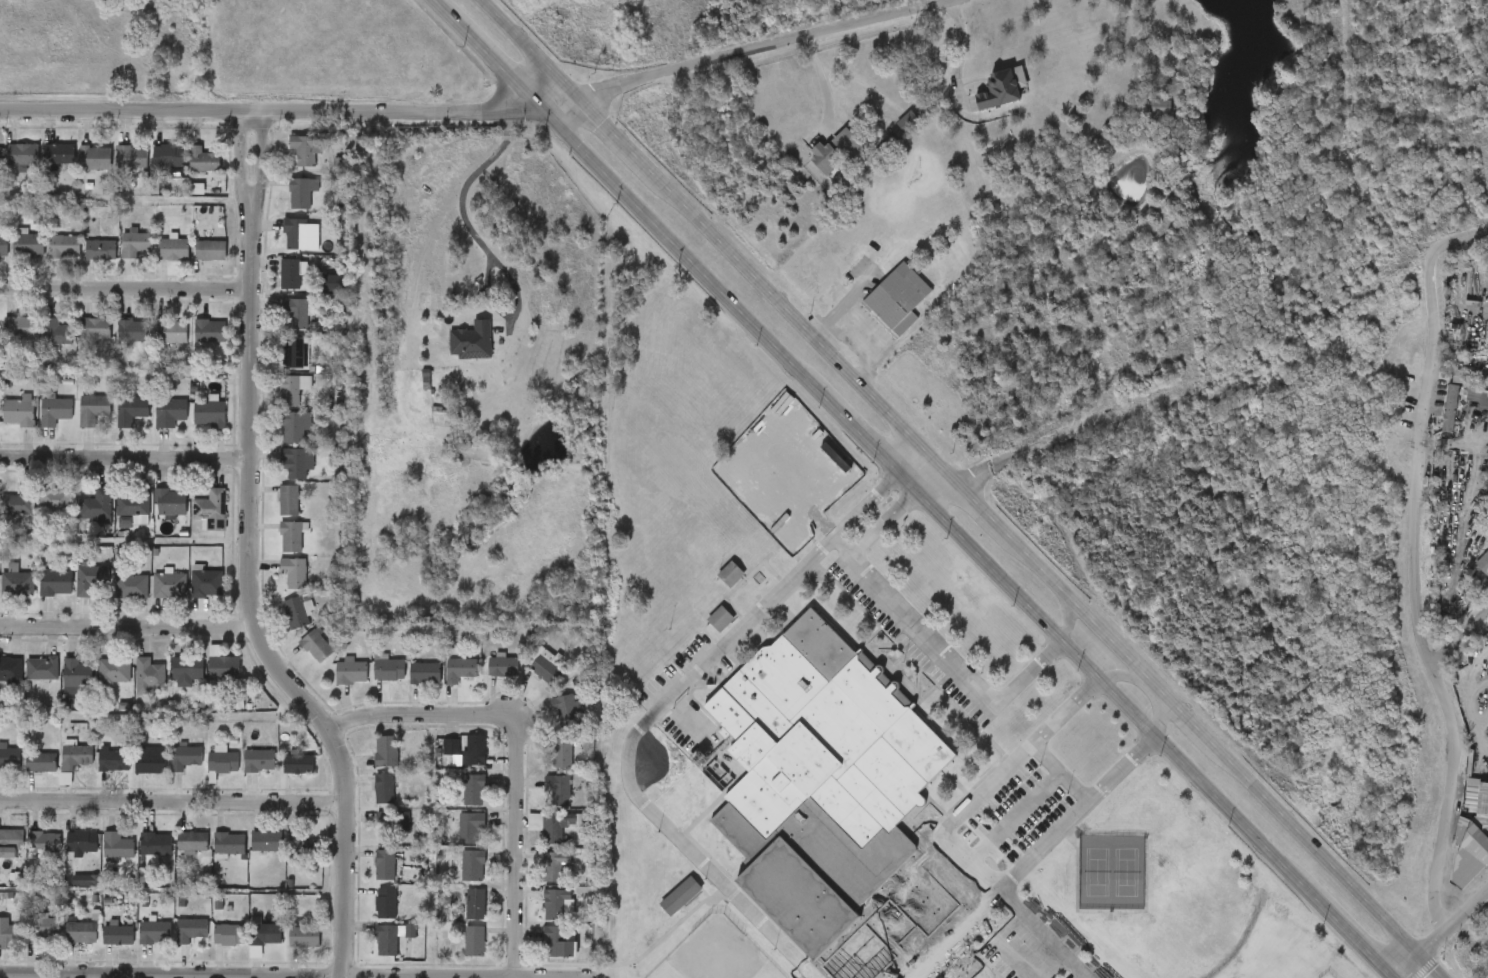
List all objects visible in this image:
road: (747, 52)
road: (958, 52)
road: (824, 79)
building: (1000, 86)
road: (270, 112)
building: (906, 119)
building: (847, 142)
building: (306, 148)
building: (22, 153)
building: (59, 153)
building: (169, 155)
building: (0, 156)
building: (132, 156)
building: (95, 157)
building: (825, 157)
building: (203, 159)
building: (288, 163)
building: (42, 167)
building: (10, 168)
building: (151, 169)
building: (115, 171)
building: (78, 172)
building: (186, 173)
building: (301, 192)
building: (284, 206)
building: (301, 233)
building: (135, 243)
road: (1458, 243)
building: (3, 244)
building: (28, 244)
road: (484, 245)
building: (64, 246)
building: (101, 248)
building: (174, 248)
building: (283, 248)
building: (211, 250)
building: (118, 258)
building: (47, 260)
building: (84, 263)
building: (157, 263)
building: (193, 264)
building: (291, 273)
road: (122, 286)
building: (273, 287)
building: (314, 296)
building: (896, 297)
road: (850, 302)
building: (296, 313)
building: (278, 326)
building: (18, 327)
building: (95, 329)
building: (132, 331)
building: (172, 331)
building: (210, 331)
building: (55, 332)
building: (472, 338)
building: (8, 340)
building: (78, 341)
road: (879, 342)
building: (115, 344)
building: (193, 344)
building: (154, 345)
building: (38, 346)
building: (296, 353)
building: (455, 355)
building: (279, 366)
building: (1458, 377)
building: (293, 388)
building: (276, 402)
building: (1448, 408)
building: (93, 409)
building: (131, 409)
building: (18, 411)
building: (55, 411)
building: (170, 413)
building: (209, 414)
building: (76, 422)
building: (9, 424)
building: (114, 424)
building: (38, 425)
building: (153, 426)
building: (194, 426)
building: (294, 426)
road: (1068, 431)
building: (279, 441)
road: (120, 460)
building: (294, 461)
building: (280, 476)
road: (962, 489)
road: (915, 490)
building: (55, 499)
building: (289, 499)
building: (170, 502)
building: (19, 503)
building: (134, 504)
building: (96, 506)
building: (211, 509)
building: (272, 513)
building: (8, 514)
building: (38, 514)
building: (79, 520)
building: (116, 524)
building: (194, 524)
building: (291, 536)
building: (274, 550)
road: (240, 559)
building: (1482, 563)
building: (293, 572)
building: (730, 572)
building: (89, 581)
building: (56, 582)
building: (17, 583)
building: (207, 583)
building: (169, 585)
building: (131, 586)
building: (278, 586)
building: (74, 593)
building: (39, 596)
building: (189, 596)
building: (8, 597)
building: (152, 599)
building: (114, 600)
road: (1419, 600)
building: (295, 613)
building: (719, 616)
road: (1068, 621)
building: (279, 626)
road: (125, 628)
road: (923, 632)
road: (1460, 642)
building: (316, 646)
building: (299, 659)
building: (502, 666)
building: (42, 668)
building: (188, 668)
building: (224, 668)
building: (459, 668)
building: (547, 668)
building: (10, 669)
building: (389, 669)
building: (114, 670)
building: (350, 671)
building: (77, 672)
building: (425, 673)
building: (149, 676)
road: (1125, 677)
building: (205, 678)
building: (527, 678)
building: (486, 679)
building: (371, 681)
building: (25, 682)
building: (2, 683)
building: (443, 683)
building: (97, 684)
building: (171, 684)
building: (334, 684)
building: (60, 686)
building: (408, 686)
building: (132, 689)
building: (566, 709)
road: (1065, 709)
road: (652, 714)
road: (1162, 717)
building: (549, 724)
road: (1472, 725)
building: (450, 747)
building: (476, 749)
building: (385, 750)
building: (562, 751)
road: (514, 753)
building: (77, 757)
building: (185, 757)
building: (9, 758)
building: (114, 759)
building: (259, 760)
building: (434, 760)
building: (40, 761)
building: (149, 761)
building: (223, 762)
building: (298, 764)
building: (369, 764)
building: (458, 764)
building: (544, 766)
road: (1121, 766)
building: (59, 768)
road: (1060, 770)
building: (168, 771)
building: (2, 772)
building: (96, 773)
building: (205, 774)
building: (242, 774)
building: (24, 775)
building: (133, 777)
building: (282, 777)
building: (820, 781)
building: (383, 788)
building: (471, 789)
building: (556, 790)
building: (366, 801)
road: (169, 802)
building: (456, 803)
building: (540, 804)
road: (963, 805)
building: (1481, 815)
building: (389, 823)
building: (469, 826)
building: (555, 826)
road: (1001, 830)
building: (376, 834)
building: (517, 835)
building: (453, 840)
building: (81, 841)
building: (192, 841)
building: (266, 841)
building: (44, 842)
building: (11, 843)
building: (229, 843)
building: (155, 844)
building: (117, 846)
building: (303, 848)
building: (175, 854)
building: (249, 854)
building: (28, 855)
building: (65, 856)
building: (138, 857)
building: (212, 857)
building: (101, 859)
road: (1029, 859)
building: (284, 860)
building: (384, 865)
building: (472, 865)
building: (553, 867)
building: (367, 878)
building: (537, 878)
building: (455, 879)
building: (68, 894)
building: (385, 903)
building: (474, 904)
building: (553, 904)
road: (956, 905)
building: (664, 909)
building: (369, 916)
building: (458, 917)
building: (538, 917)
building: (42, 929)
building: (190, 929)
building: (154, 931)
building: (80, 932)
building: (10, 933)
road: (1045, 933)
building: (229, 934)
building: (265, 934)
road: (899, 934)
building: (117, 935)
road: (1445, 935)
building: (304, 937)
building: (386, 940)
building: (473, 941)
building: (557, 942)
building: (27, 943)
building: (174, 943)
building: (64, 945)
building: (138, 945)
building: (248, 946)
building: (101, 947)
building: (211, 948)
road: (941, 949)
road: (999, 949)
building: (287, 950)
building: (375, 951)
building: (457, 954)
building: (540, 956)
road: (295, 973)

